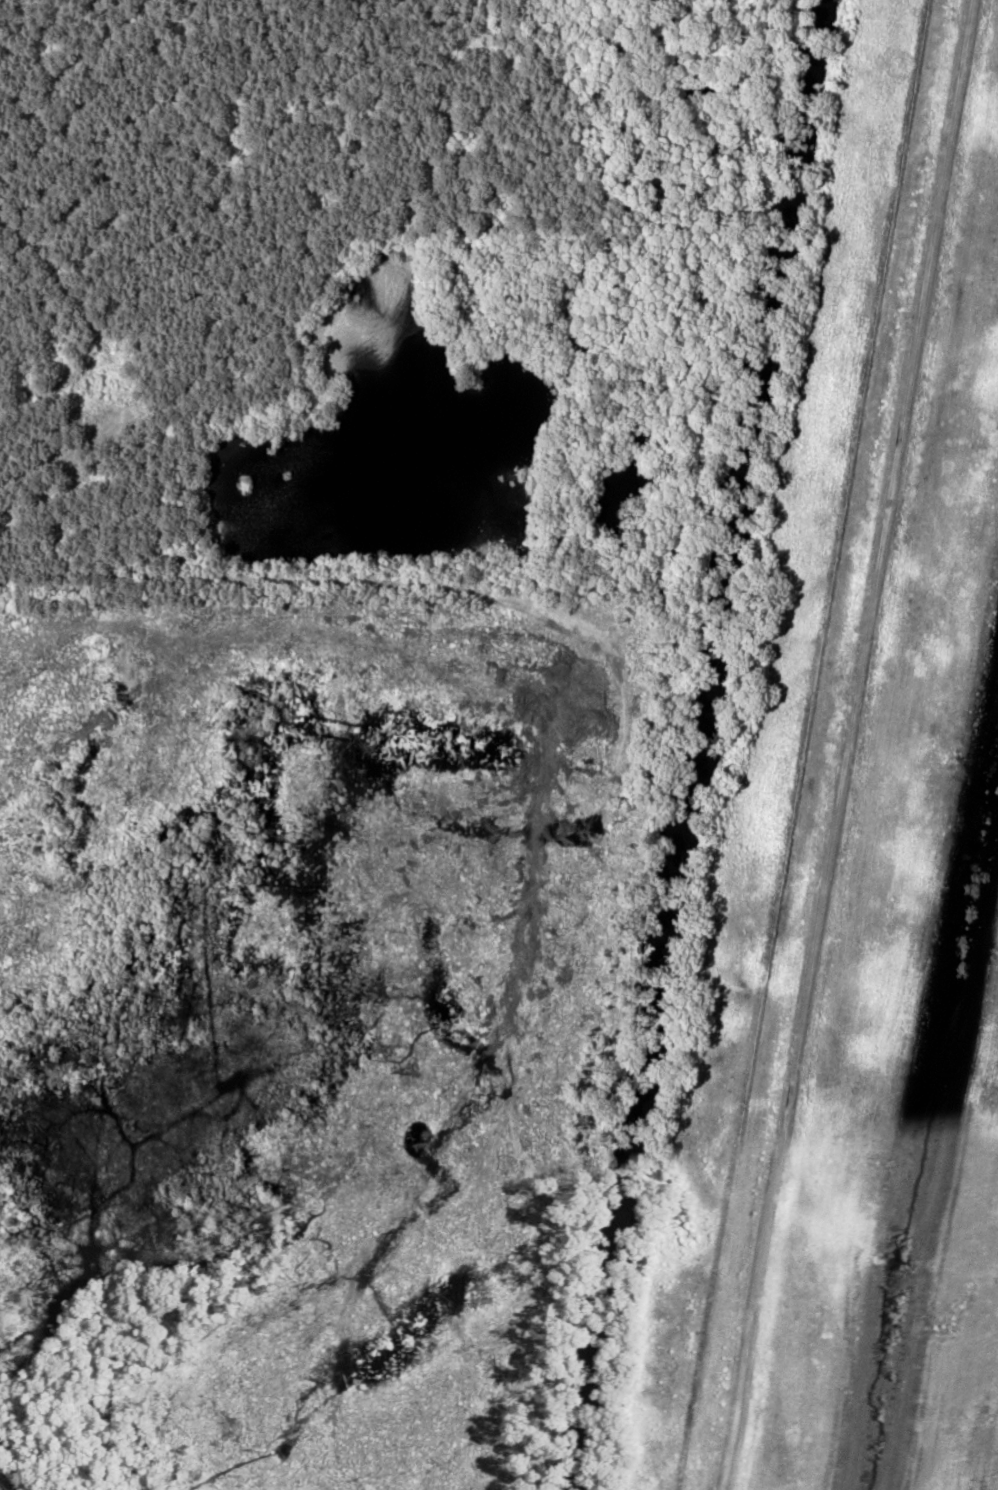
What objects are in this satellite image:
river: (697, 743)
airport: (890, 910)

